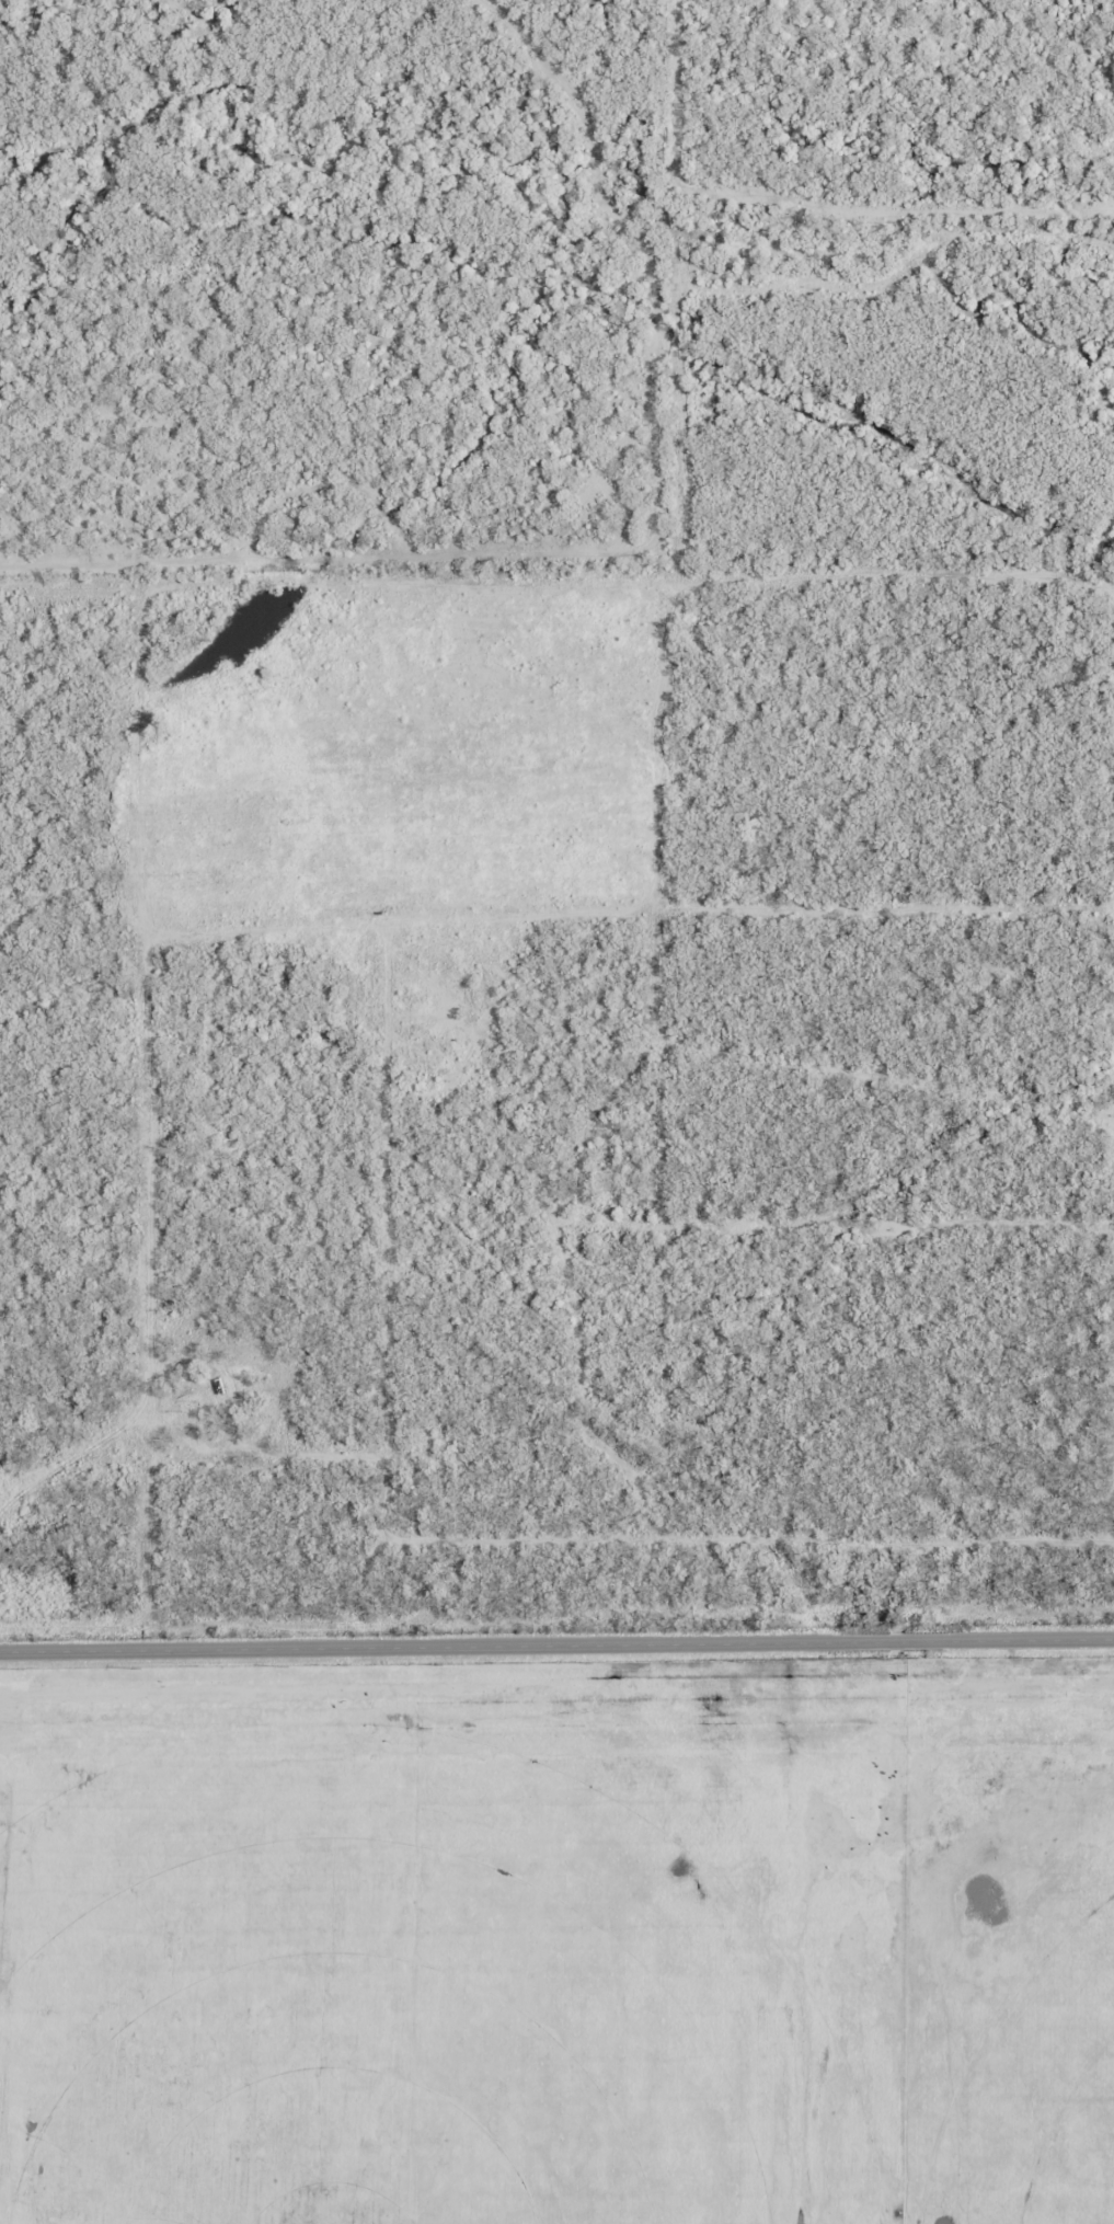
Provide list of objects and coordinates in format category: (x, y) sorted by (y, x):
road: (556, 1644)

